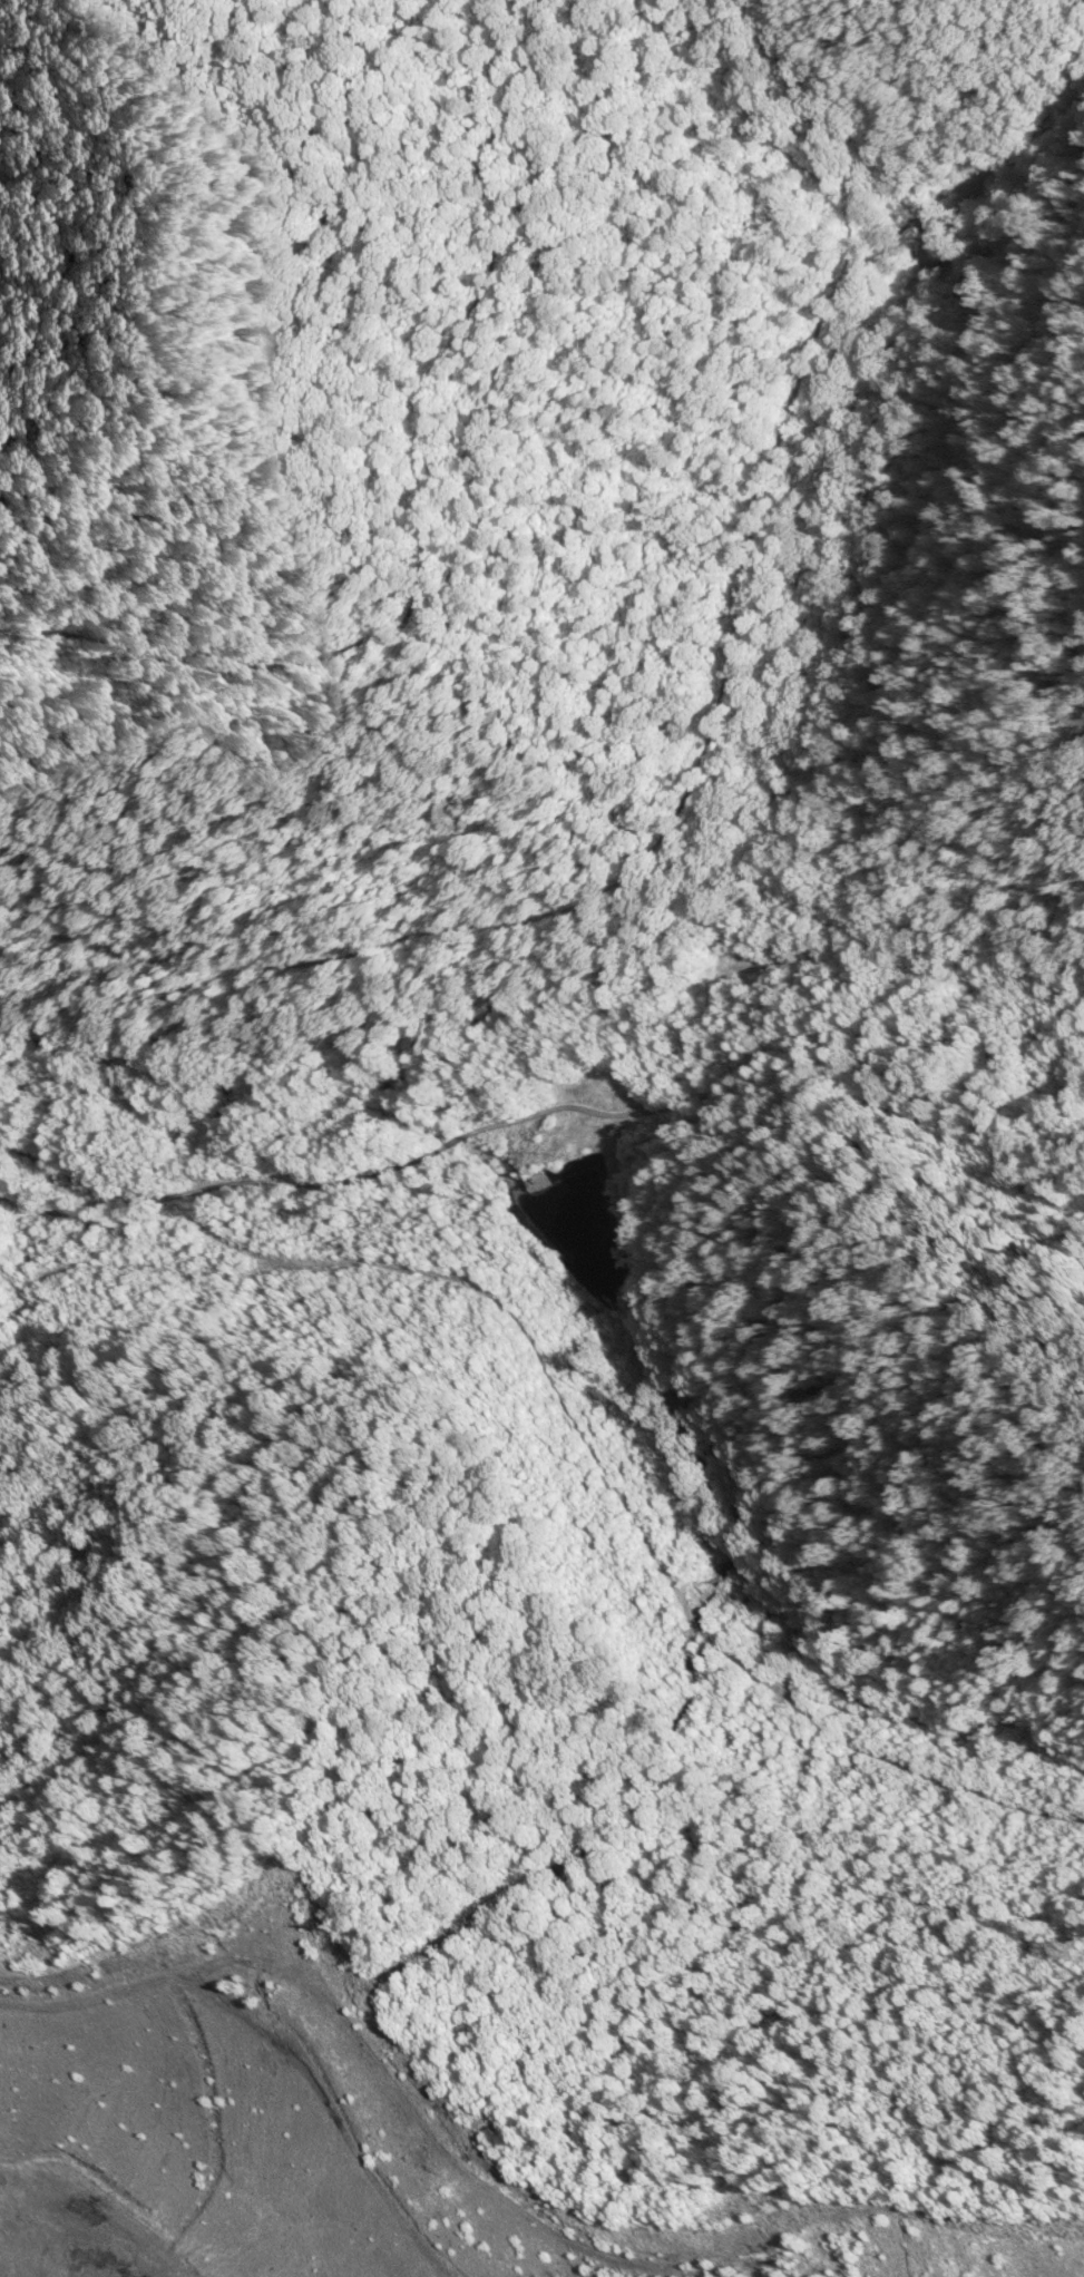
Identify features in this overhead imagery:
quarry: (411, 2124)

